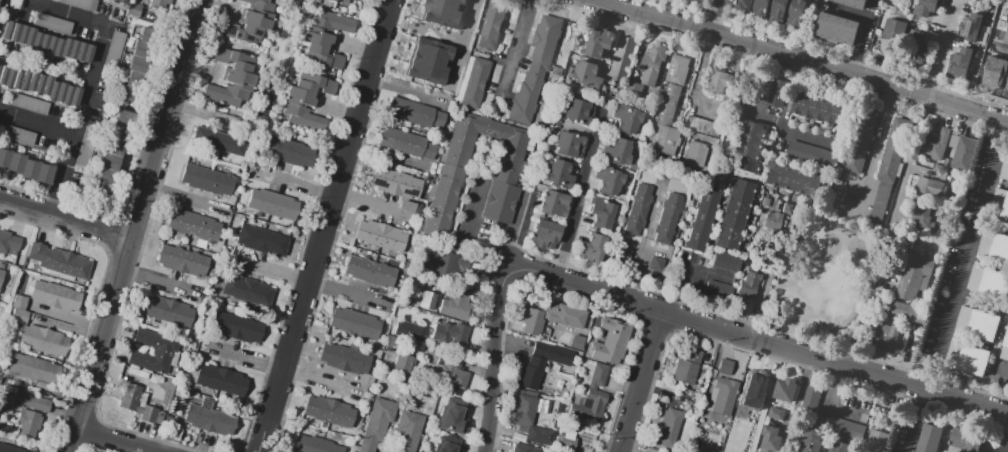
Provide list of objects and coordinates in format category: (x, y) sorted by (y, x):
building: (355, 0)
building: (340, 1)
building: (116, 2)
building: (159, 3)
road: (607, 3)
building: (852, 3)
building: (743, 5)
building: (761, 8)
building: (927, 8)
building: (134, 9)
building: (779, 10)
building: (441, 12)
road: (68, 13)
building: (796, 13)
road: (712, 18)
building: (250, 21)
building: (52, 23)
building: (491, 25)
building: (973, 28)
building: (837, 29)
building: (893, 29)
building: (1006, 36)
building: (325, 38)
road: (860, 39)
building: (46, 43)
road: (462, 43)
building: (598, 44)
road: (515, 48)
road: (627, 49)
building: (914, 49)
road: (999, 49)
road: (944, 50)
building: (425, 61)
building: (961, 62)
building: (651, 63)
road: (796, 63)
road: (759, 64)
building: (534, 67)
building: (139, 68)
building: (675, 69)
road: (773, 69)
road: (806, 77)
building: (232, 78)
road: (696, 78)
building: (588, 79)
road: (812, 80)
building: (472, 81)
building: (718, 81)
road: (783, 81)
road: (800, 82)
building: (39, 85)
building: (632, 89)
road: (823, 89)
road: (834, 93)
building: (778, 95)
road: (852, 97)
building: (306, 100)
building: (30, 104)
building: (818, 108)
road: (699, 109)
building: (578, 113)
building: (417, 115)
road: (76, 119)
building: (627, 121)
road: (771, 122)
building: (664, 123)
road: (38, 124)
parking lot: (699, 125)
building: (701, 125)
road: (739, 132)
building: (17, 135)
building: (860, 139)
building: (222, 142)
road: (736, 142)
building: (568, 145)
road: (733, 145)
building: (410, 146)
building: (749, 148)
building: (934, 148)
building: (892, 149)
building: (288, 151)
road: (875, 152)
building: (616, 153)
building: (694, 153)
road: (732, 154)
building: (809, 154)
building: (964, 154)
building: (112, 157)
road: (770, 158)
road: (783, 163)
road: (729, 164)
road: (797, 167)
road: (804, 167)
building: (24, 168)
building: (506, 168)
building: (1004, 171)
road: (812, 172)
building: (557, 174)
road: (904, 176)
building: (207, 180)
building: (793, 180)
building: (611, 182)
building: (400, 184)
building: (930, 187)
road: (724, 188)
road: (581, 195)
building: (764, 201)
building: (273, 204)
building: (554, 204)
building: (1000, 206)
building: (785, 207)
building: (638, 210)
building: (603, 214)
building: (733, 215)
building: (921, 215)
road: (64, 217)
building: (666, 218)
road: (649, 220)
building: (700, 220)
building: (770, 220)
road: (466, 223)
road: (991, 223)
road: (132, 225)
building: (194, 225)
road: (324, 226)
building: (544, 235)
building: (382, 237)
building: (263, 241)
building: (10, 243)
building: (994, 248)
building: (591, 251)
building: (754, 254)
parking lot: (623, 255)
parking lot: (960, 255)
road: (964, 255)
road: (634, 258)
building: (182, 260)
building: (60, 262)
building: (723, 262)
building: (654, 264)
parking lot: (655, 265)
building: (447, 266)
road: (839, 266)
building: (372, 273)
road: (634, 274)
park: (822, 277)
building: (914, 278)
building: (2, 279)
road: (688, 280)
building: (747, 284)
building: (989, 284)
road: (763, 288)
building: (244, 290)
building: (715, 292)
building: (57, 298)
road: (966, 298)
road: (981, 298)
building: (426, 301)
road: (741, 307)
building: (457, 308)
building: (169, 310)
building: (900, 310)
building: (19, 311)
building: (563, 315)
building: (532, 321)
building: (357, 325)
building: (978, 325)
building: (236, 327)
building: (411, 333)
road: (786, 336)
road: (1000, 337)
building: (450, 338)
road: (756, 339)
building: (886, 339)
building: (45, 342)
building: (579, 344)
building: (614, 344)
road: (824, 344)
building: (1005, 350)
building: (153, 351)
building: (554, 356)
building: (347, 360)
building: (968, 360)
road: (492, 361)
building: (405, 365)
building: (688, 369)
building: (36, 370)
building: (534, 375)
building: (452, 376)
building: (221, 380)
road: (637, 381)
building: (755, 385)
road: (833, 390)
building: (725, 391)
building: (785, 392)
building: (594, 397)
building: (810, 401)
building: (139, 404)
road: (841, 410)
building: (331, 412)
building: (31, 413)
building: (526, 413)
building: (777, 415)
building: (450, 416)
building: (746, 416)
building: (208, 419)
building: (889, 420)
road: (918, 420)
building: (380, 426)
building: (668, 430)
building: (851, 431)
building: (409, 433)
road: (119, 437)
building: (542, 438)
building: (929, 438)
building: (772, 440)
building: (812, 441)
building: (969, 441)
building: (878, 442)
building: (567, 443)
building: (444, 444)
building: (315, 446)
building: (841, 448)
building: (1003, 448)
building: (7, 449)
building: (525, 450)

